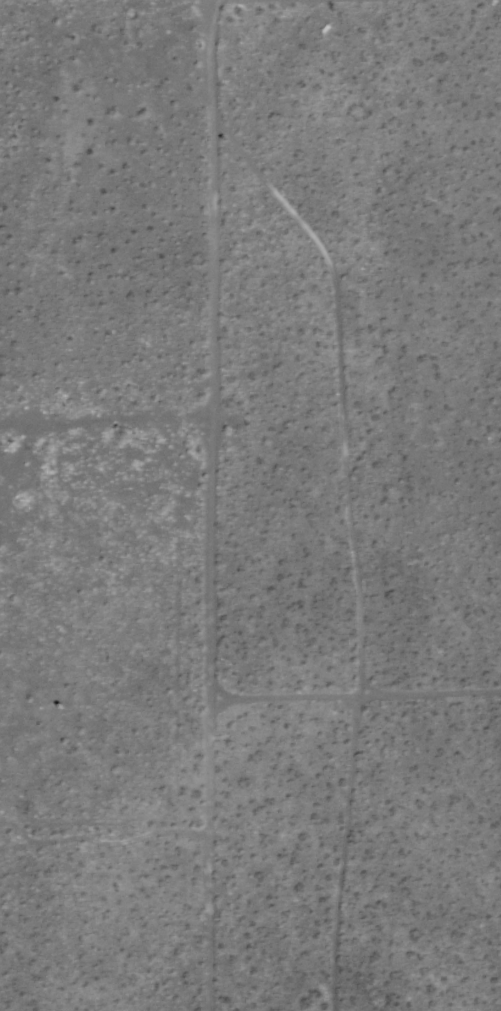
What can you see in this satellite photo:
road: (212, 505)
road: (356, 697)

